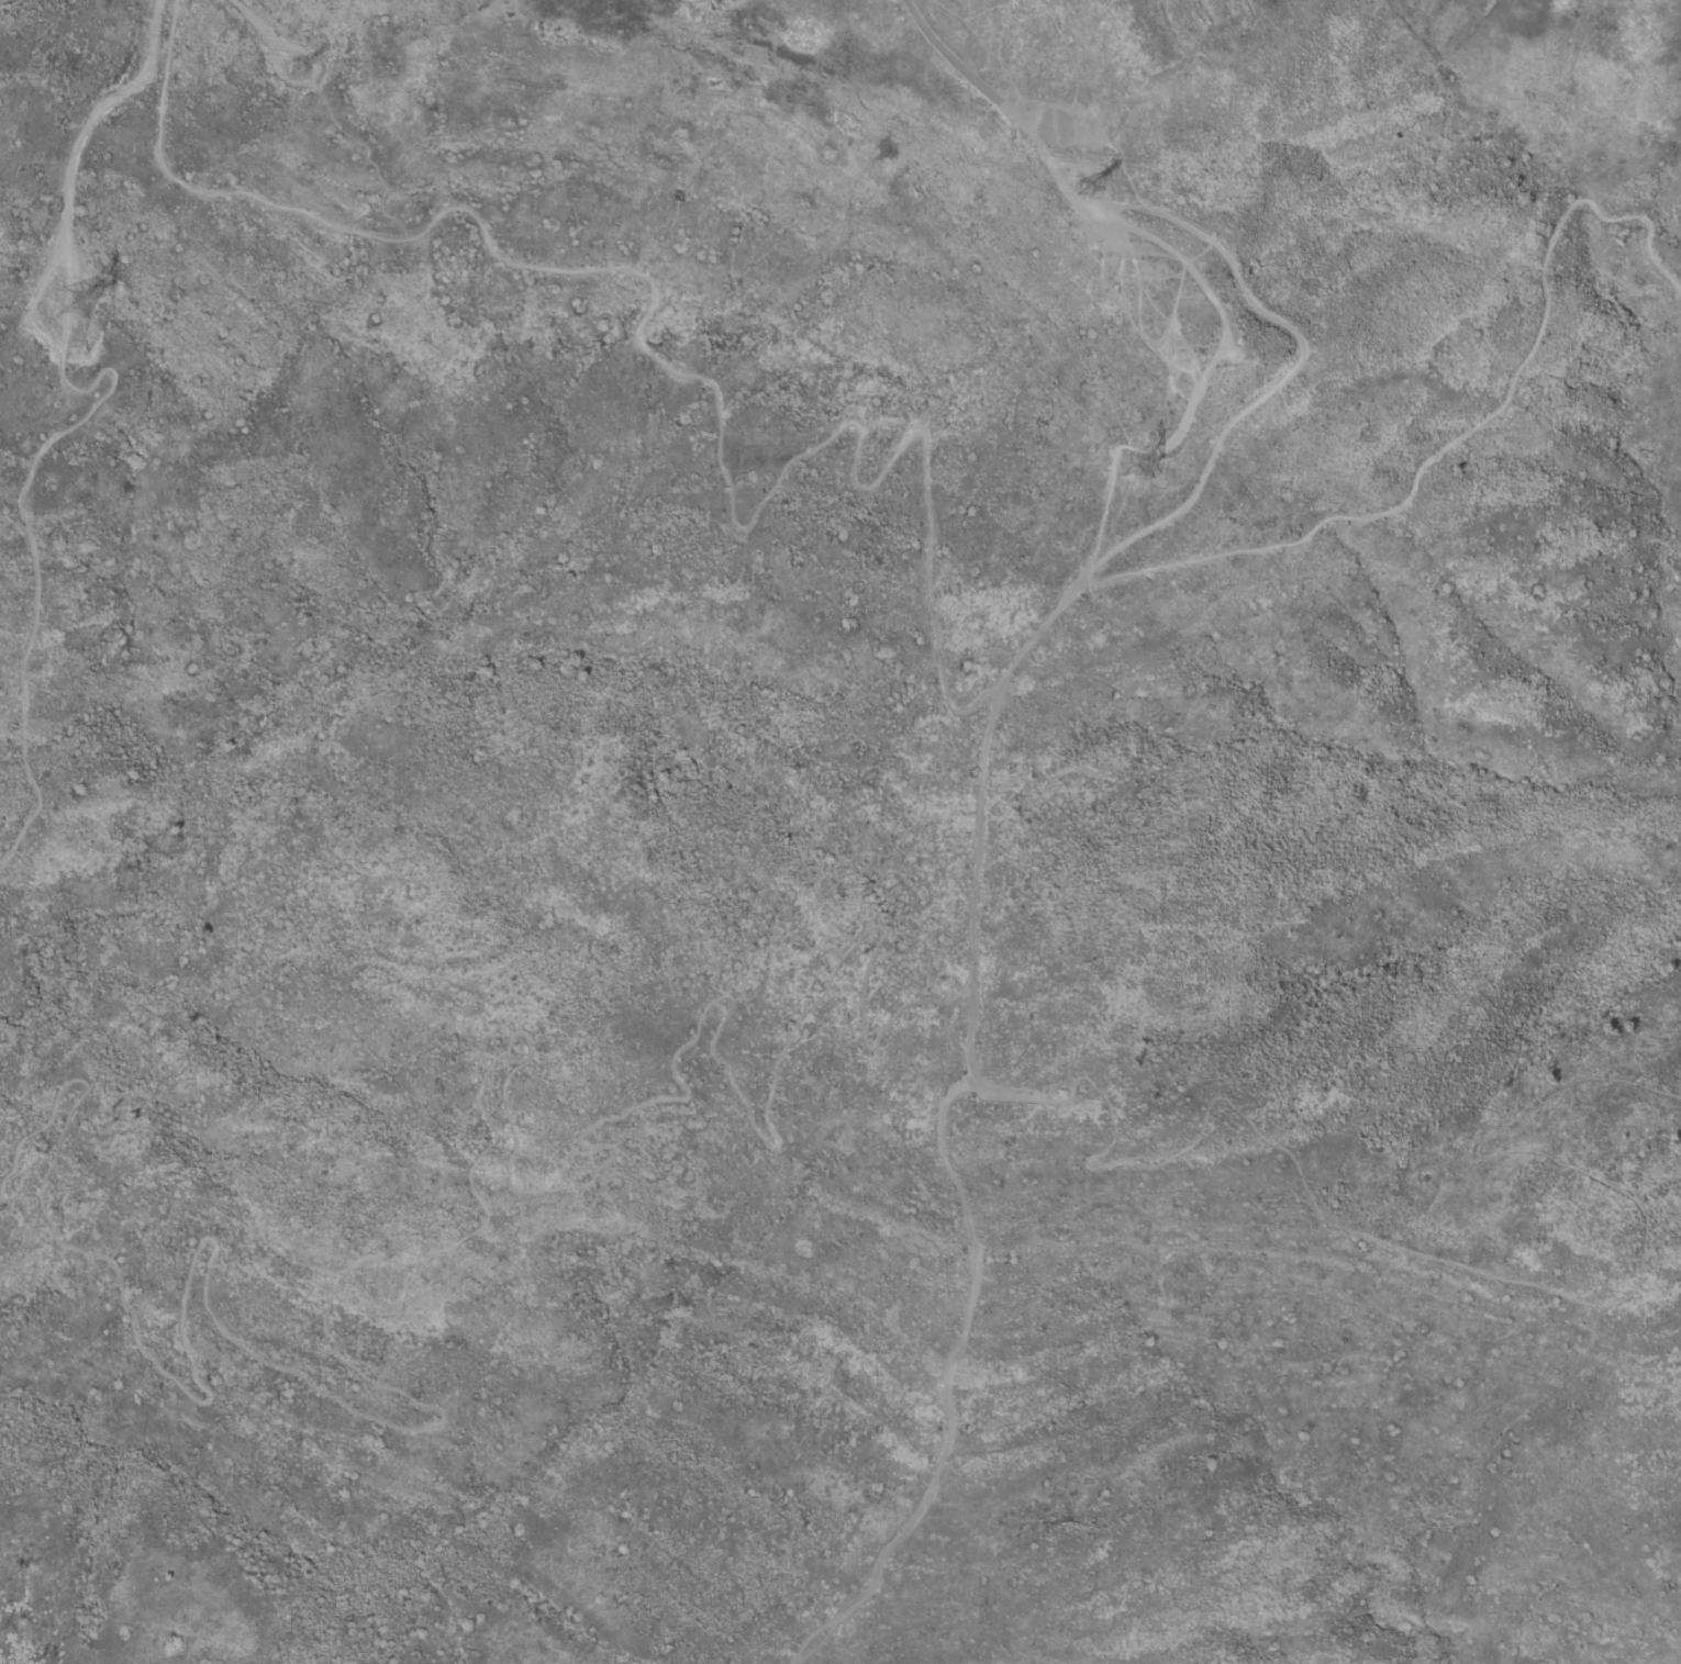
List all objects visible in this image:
road: (248, 19)
power tower: (301, 54)
road: (997, 63)
road: (961, 72)
road: (310, 74)
road: (1032, 131)
road: (77, 139)
road: (1104, 139)
power tower: (1079, 186)
power tower: (94, 301)
road: (688, 376)
road: (1461, 435)
power tower: (1134, 470)
road: (1105, 498)
road: (24, 527)
road: (1002, 678)
road: (439, 1249)
road: (1435, 1262)

